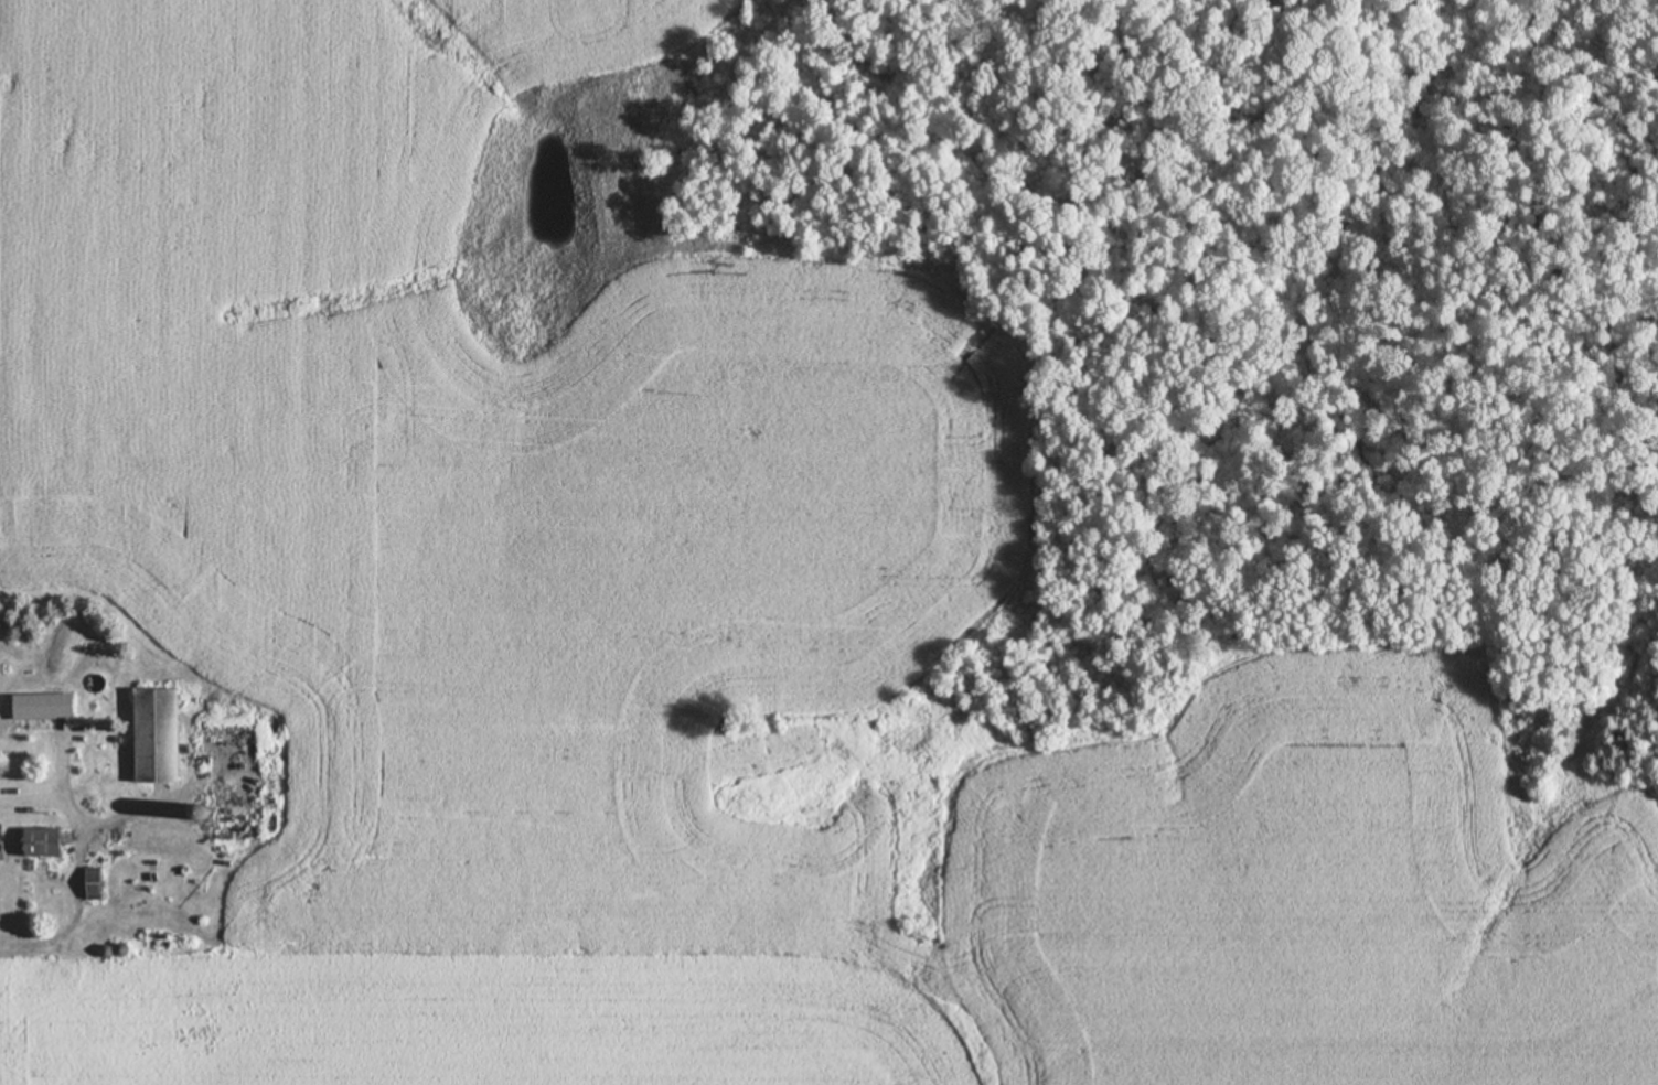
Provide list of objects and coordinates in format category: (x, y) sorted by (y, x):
building: (46, 706)
building: (162, 734)
road: (79, 816)
building: (47, 841)
building: (98, 882)

